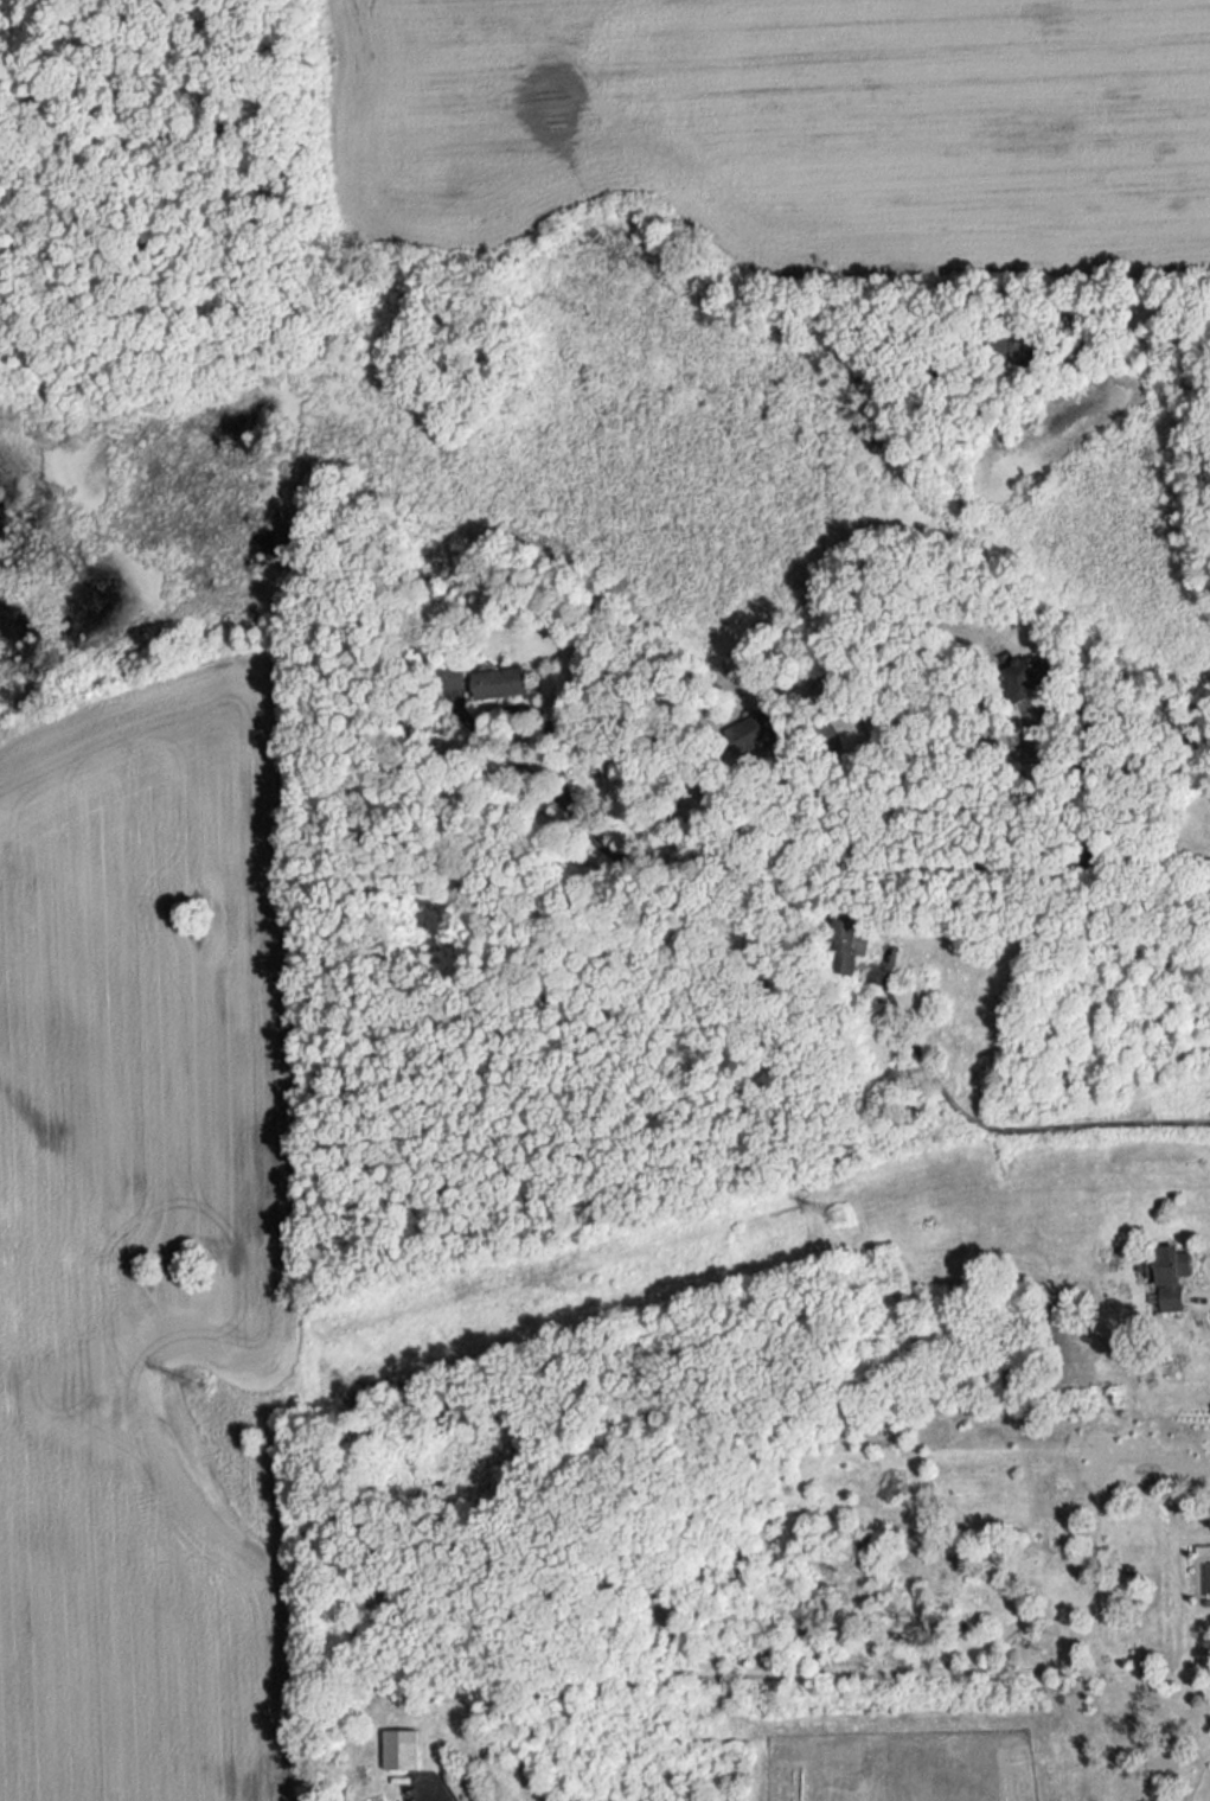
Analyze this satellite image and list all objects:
road: (1144, 317)
building: (1011, 345)
building: (456, 676)
building: (502, 681)
road: (505, 711)
road: (1083, 714)
building: (751, 732)
road: (873, 864)
building: (847, 941)
road: (1005, 1130)
power tower: (839, 1211)
crop: (153, 1245)
building: (1170, 1272)
road: (1201, 1314)
power tower: (196, 1384)
building: (401, 1748)
road: (441, 1794)

